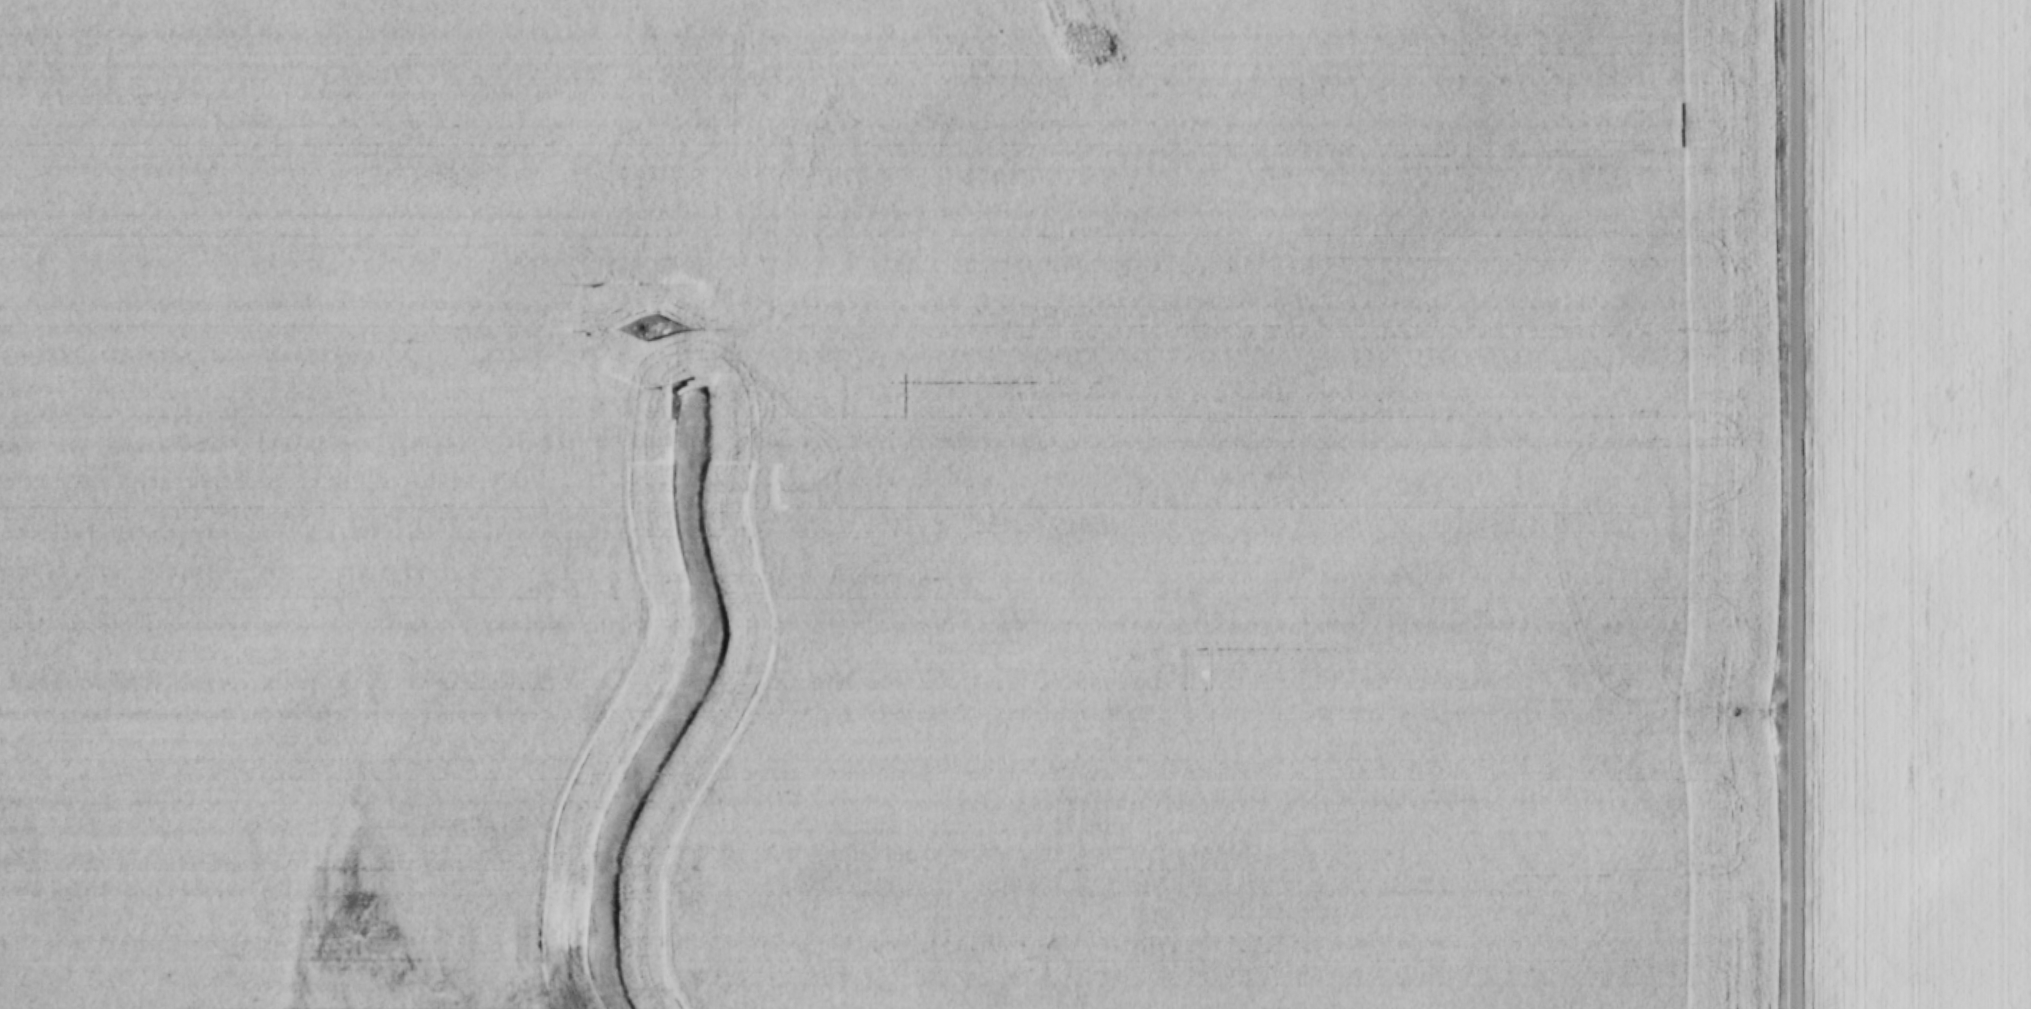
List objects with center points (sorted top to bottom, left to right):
road: (1794, 504)

